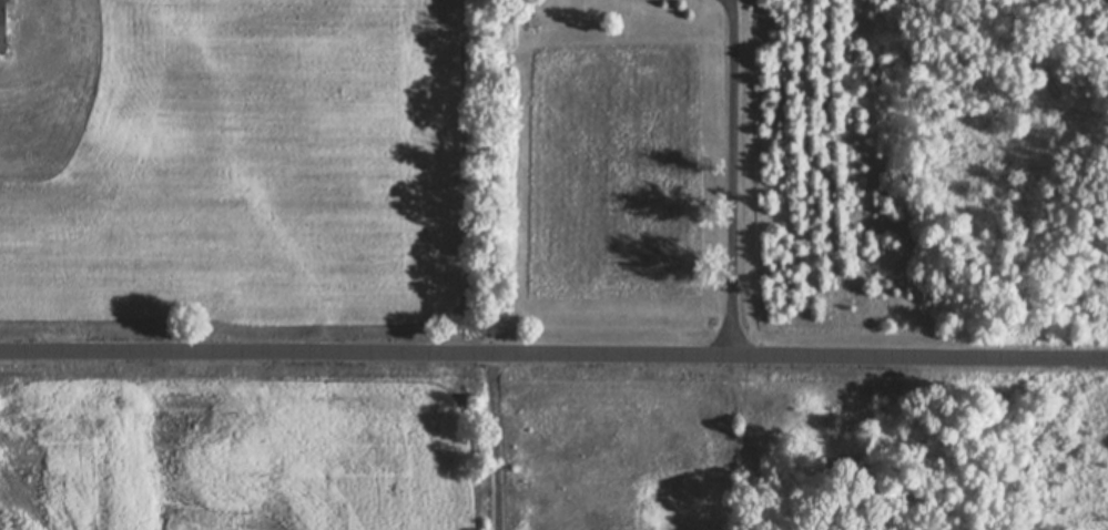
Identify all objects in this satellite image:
building: (1, 27)
road: (731, 175)
road: (553, 351)
road: (494, 440)

